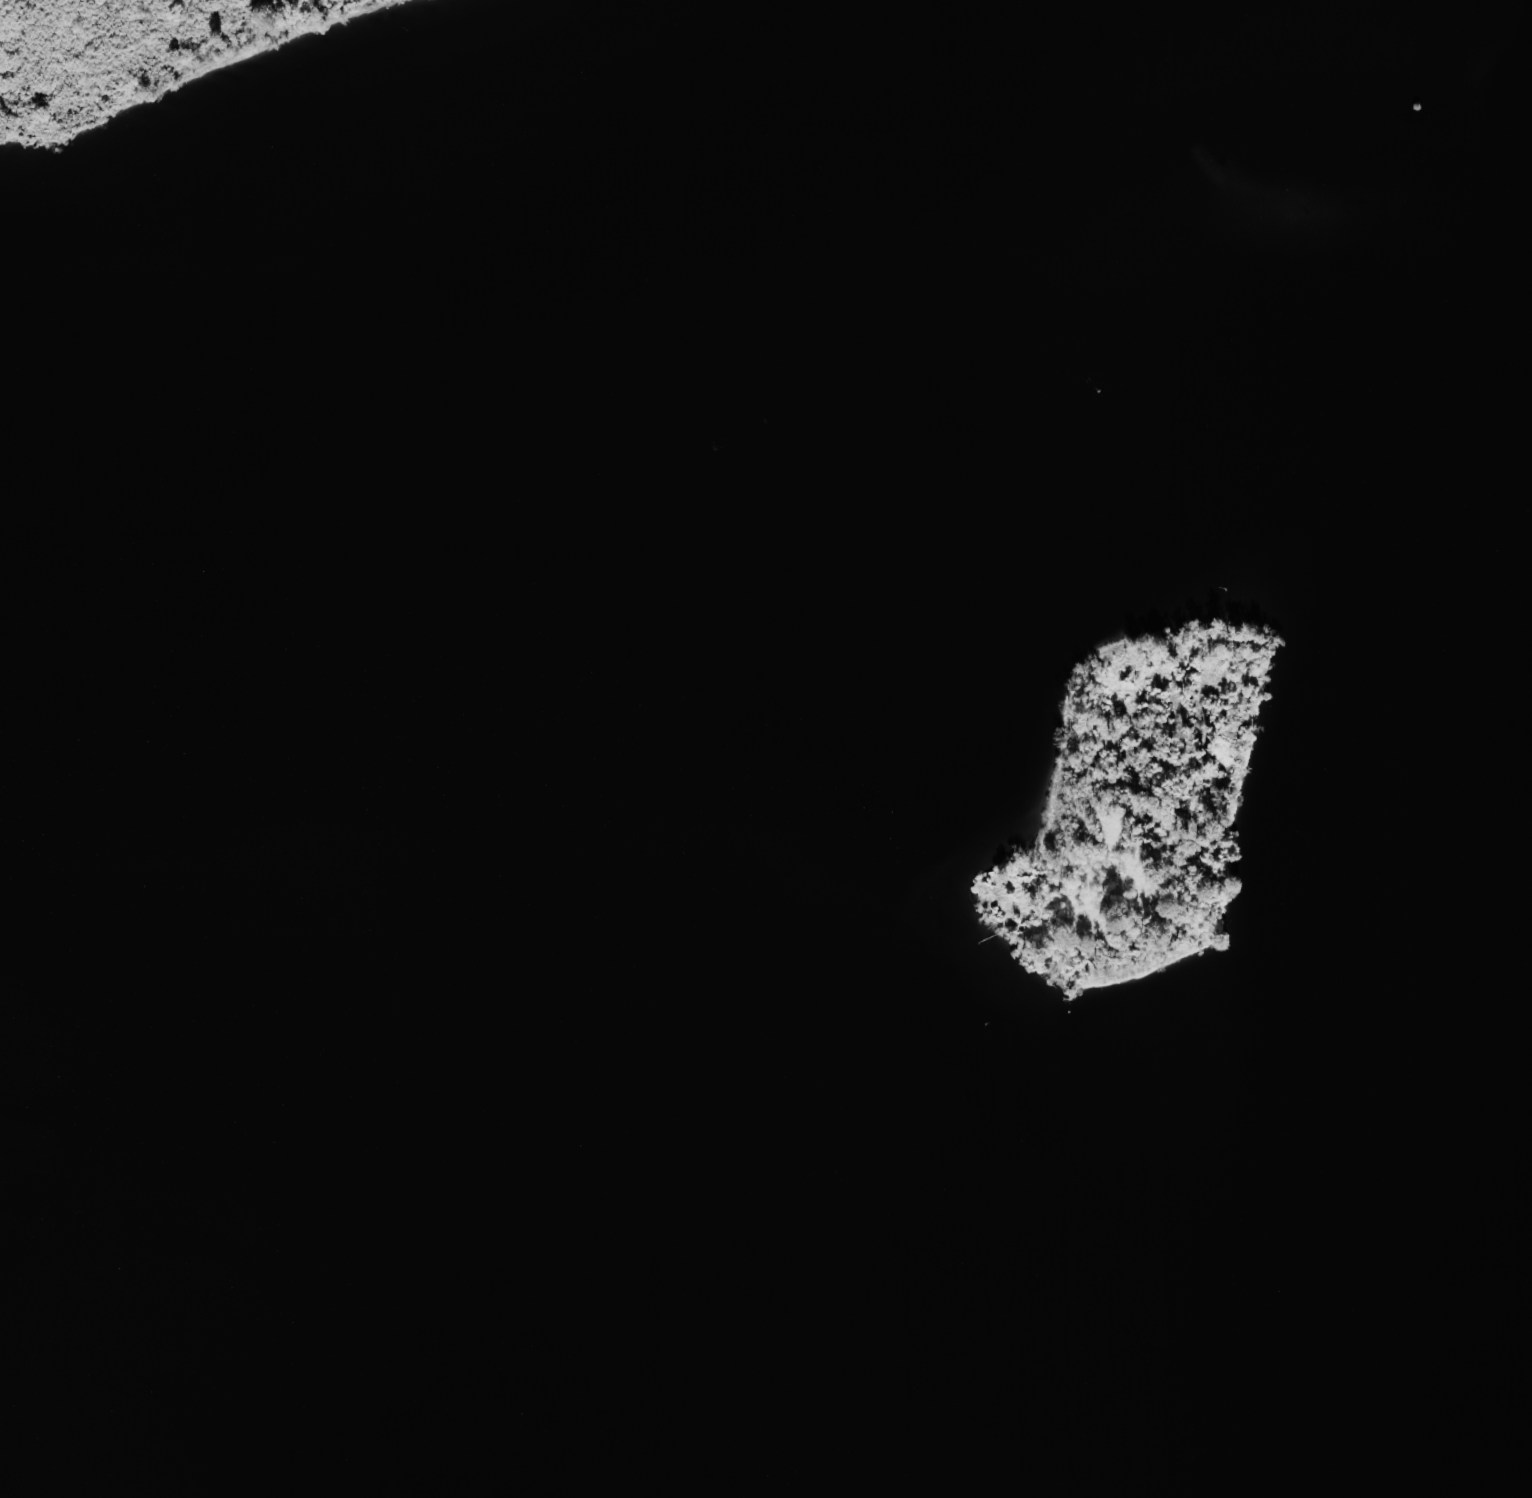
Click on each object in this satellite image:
river: (109, 1291)

